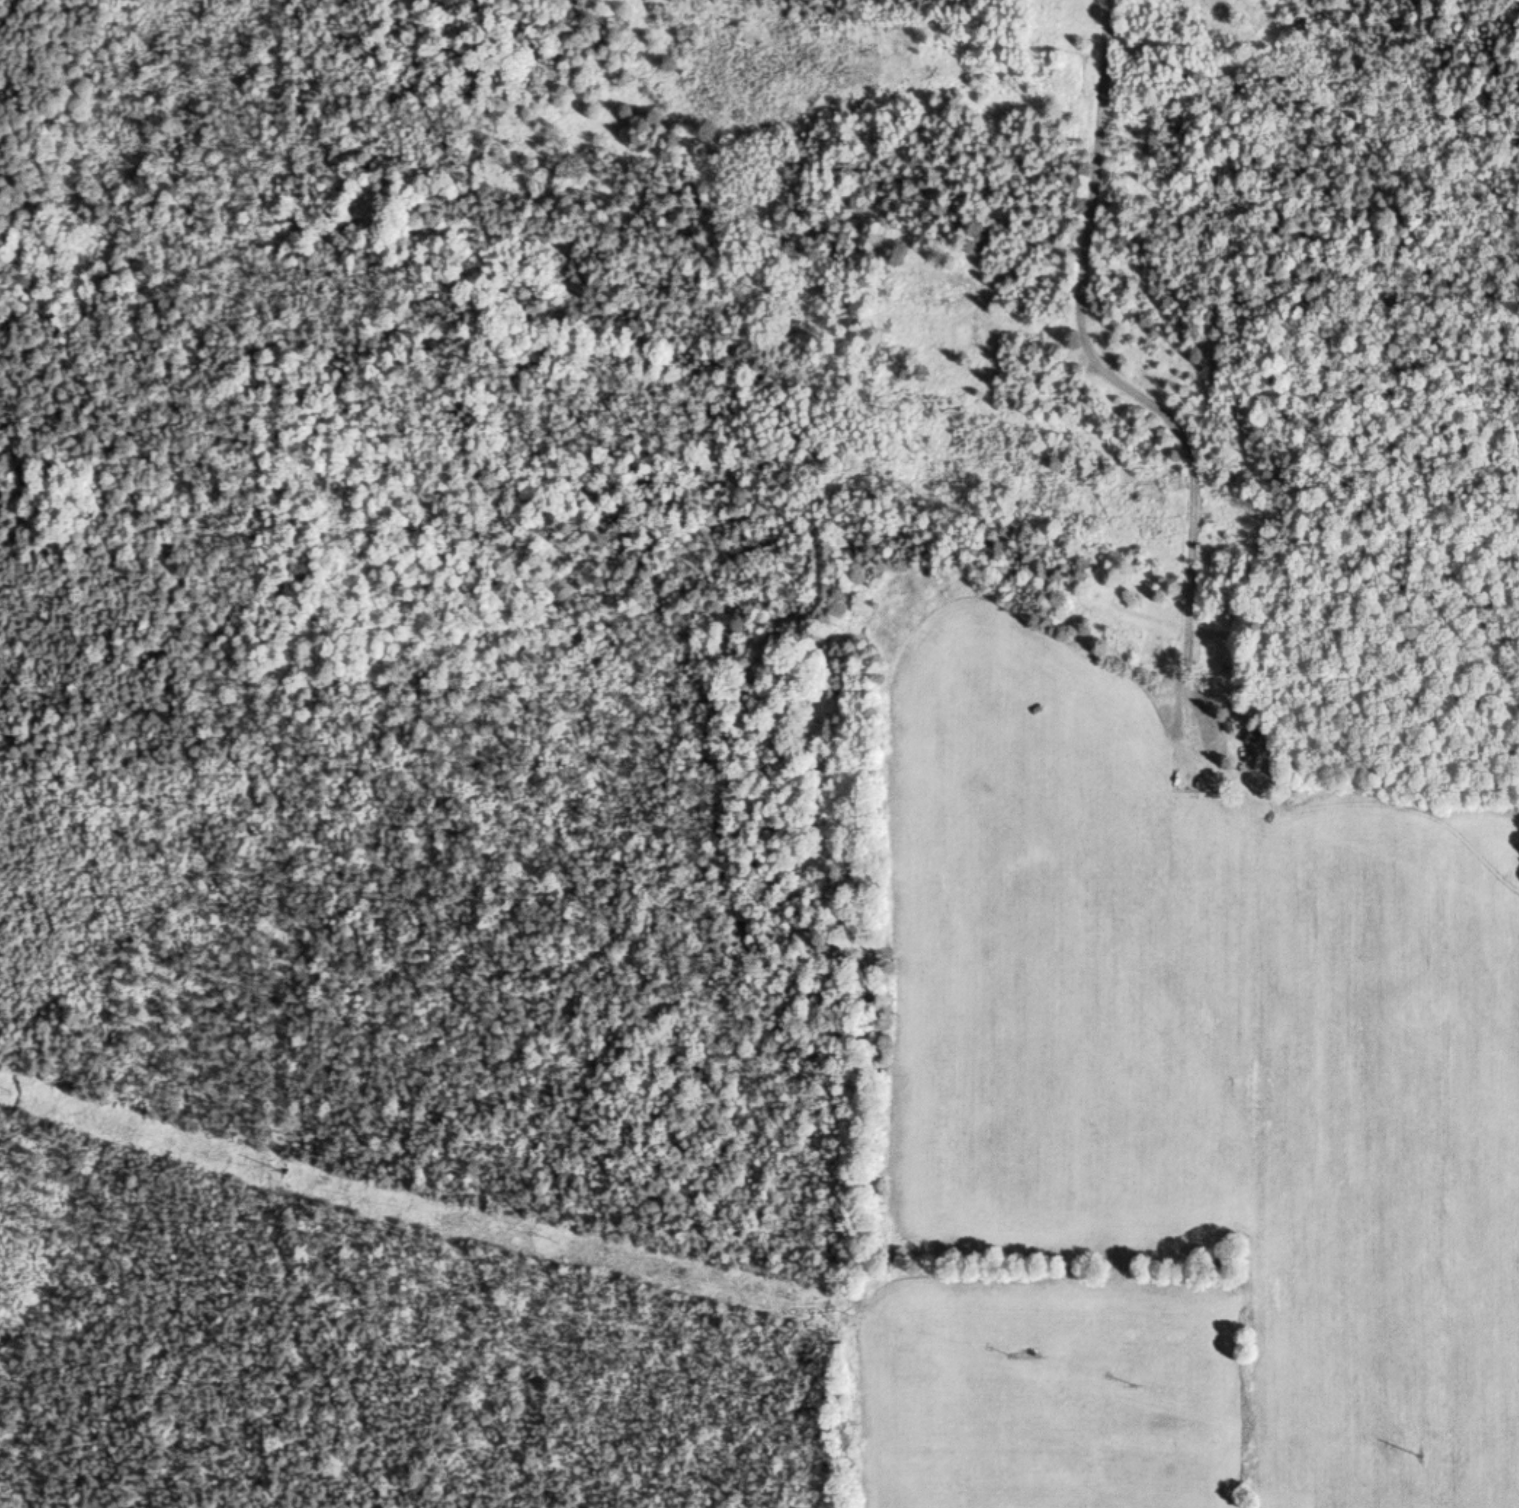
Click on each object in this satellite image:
road: (1100, 367)

